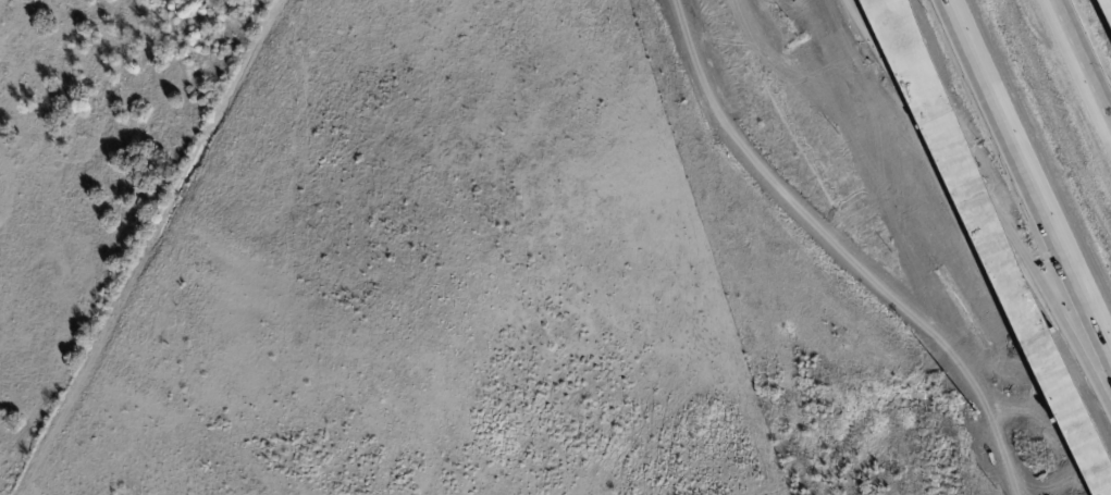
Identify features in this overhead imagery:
road: (1081, 64)
road: (1026, 185)
road: (987, 200)
road: (988, 247)

